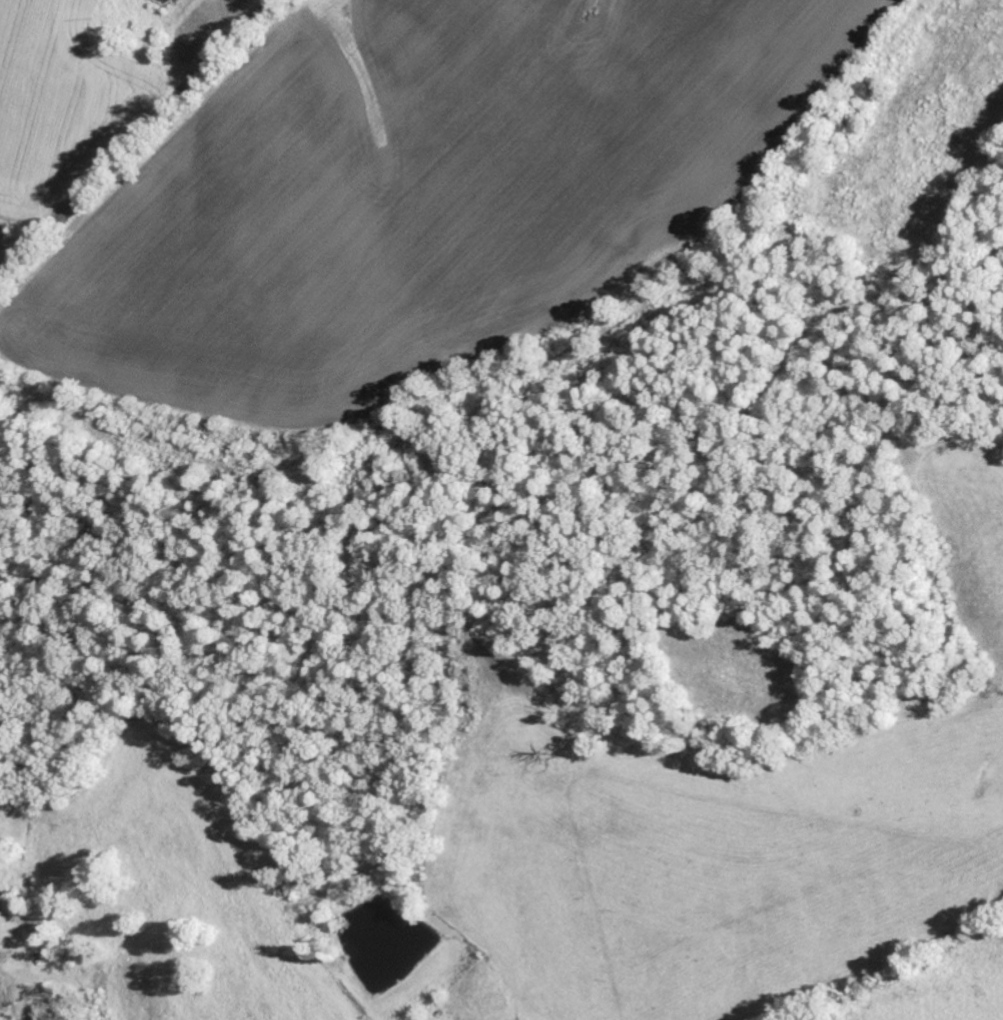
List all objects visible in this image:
road: (135, 138)

